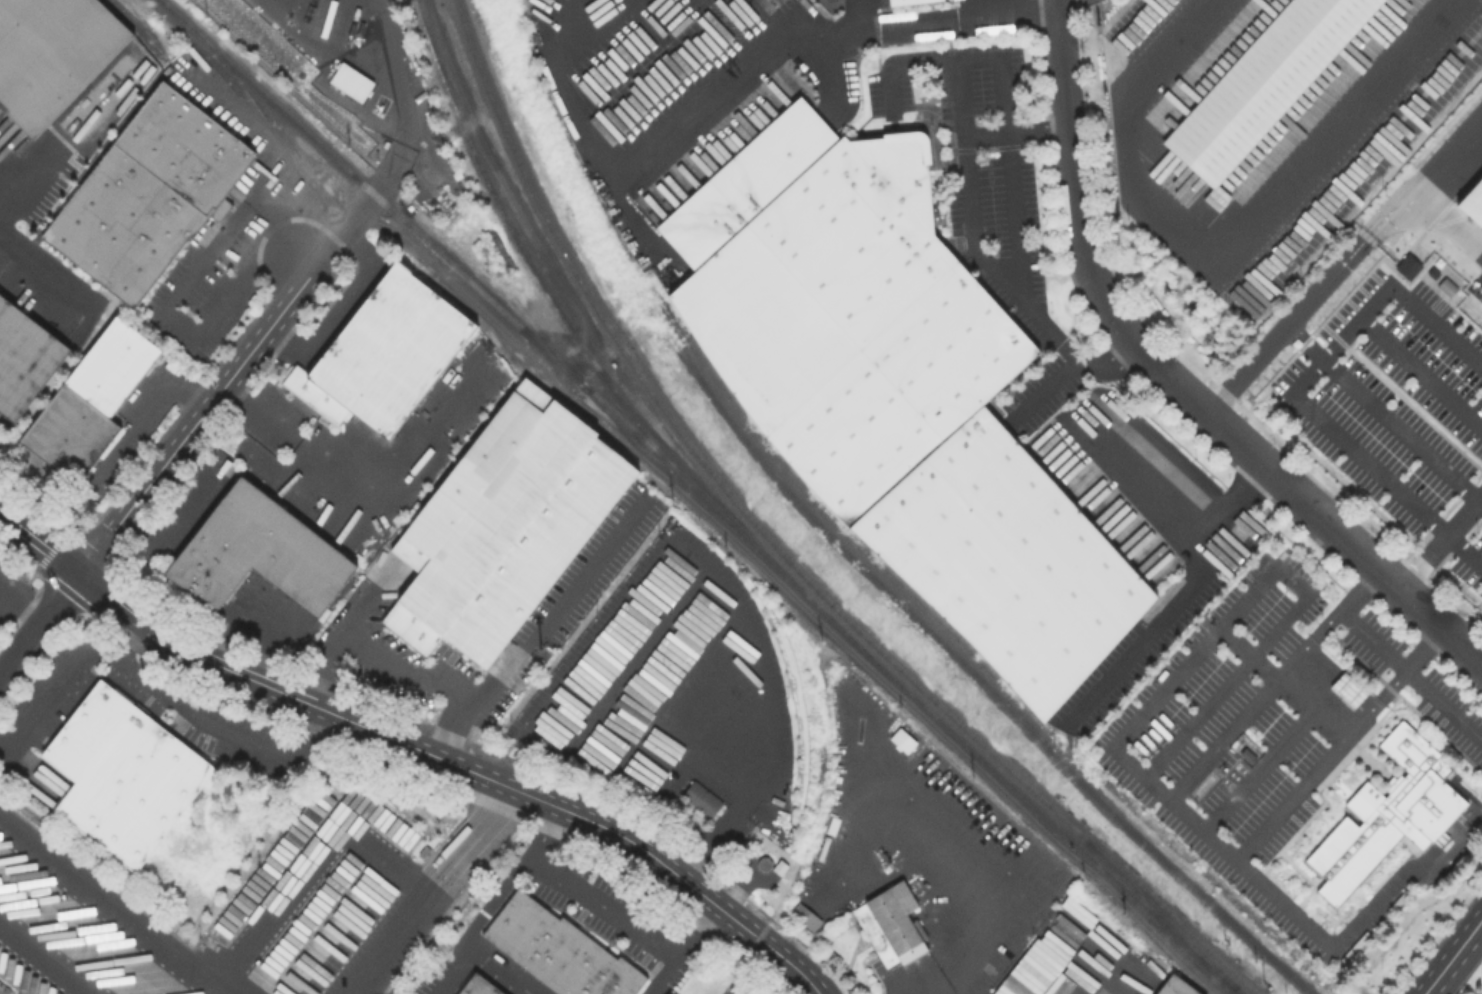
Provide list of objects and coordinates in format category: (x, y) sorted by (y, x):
building: (909, 2)
road: (1007, 9)
railway: (138, 28)
road: (809, 38)
road: (386, 45)
road: (315, 48)
building: (52, 55)
building: (1267, 83)
building: (350, 85)
road: (402, 117)
railway: (284, 148)
road: (1447, 155)
building: (150, 196)
road: (14, 201)
building: (1475, 205)
road: (358, 206)
building: (222, 211)
road: (1224, 225)
road: (1447, 225)
road: (976, 250)
railway: (525, 254)
building: (1407, 266)
road: (45, 270)
road: (181, 288)
road: (1382, 293)
road: (1311, 305)
building: (393, 352)
building: (24, 359)
road: (1421, 372)
road: (1173, 383)
building: (899, 396)
building: (317, 397)
building: (92, 403)
road: (197, 421)
road: (1402, 431)
road: (117, 442)
road: (1366, 467)
road: (675, 488)
railway: (704, 493)
railway: (837, 521)
building: (504, 527)
road: (40, 541)
road: (1440, 541)
road: (18, 552)
railway: (782, 553)
building: (261, 554)
road: (581, 576)
road: (1268, 582)
road: (641, 589)
road: (4, 592)
road: (24, 599)
road: (1179, 601)
road: (362, 608)
road: (40, 626)
road: (646, 656)
road: (383, 660)
road: (74, 670)
road: (327, 671)
parking lot: (1413, 673)
road: (1413, 674)
road: (677, 681)
railway: (987, 682)
road: (491, 683)
road: (1276, 685)
road: (268, 687)
building: (1350, 692)
road: (1322, 699)
road: (456, 703)
road: (1200, 717)
road: (229, 734)
building: (901, 739)
road: (739, 741)
road: (1340, 743)
road: (1266, 768)
parking lot: (1215, 769)
building: (125, 776)
building: (703, 800)
building: (1388, 815)
road: (1203, 829)
road: (545, 834)
road: (313, 861)
road: (659, 861)
road: (439, 886)
road: (958, 897)
road: (603, 906)
road: (114, 911)
railway: (1162, 913)
building: (807, 919)
building: (899, 923)
road: (477, 924)
road: (695, 930)
building: (877, 936)
building: (558, 951)
road: (1453, 957)
road: (43, 959)
road: (501, 971)
road: (667, 977)
building: (478, 986)
building: (1177, 988)
road: (946, 991)

